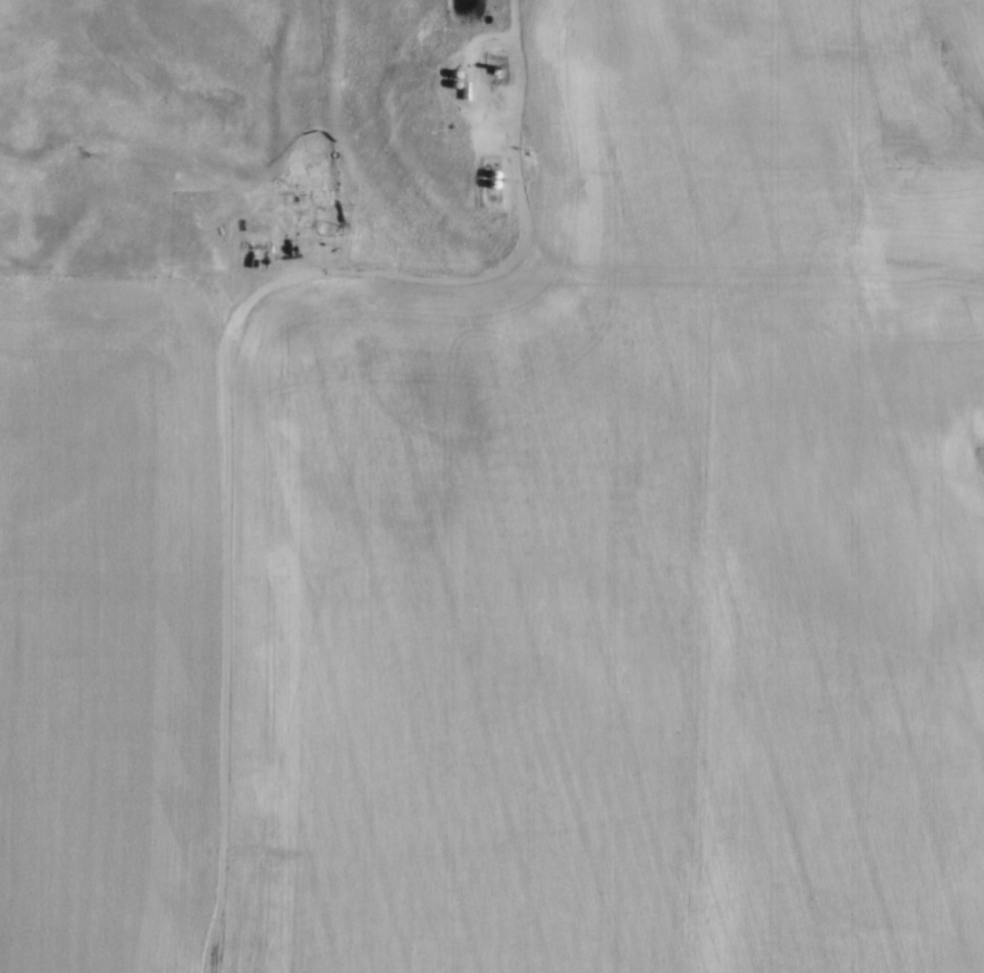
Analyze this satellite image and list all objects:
building: (458, 87)
road: (232, 392)
crop: (639, 530)
crop: (106, 623)

